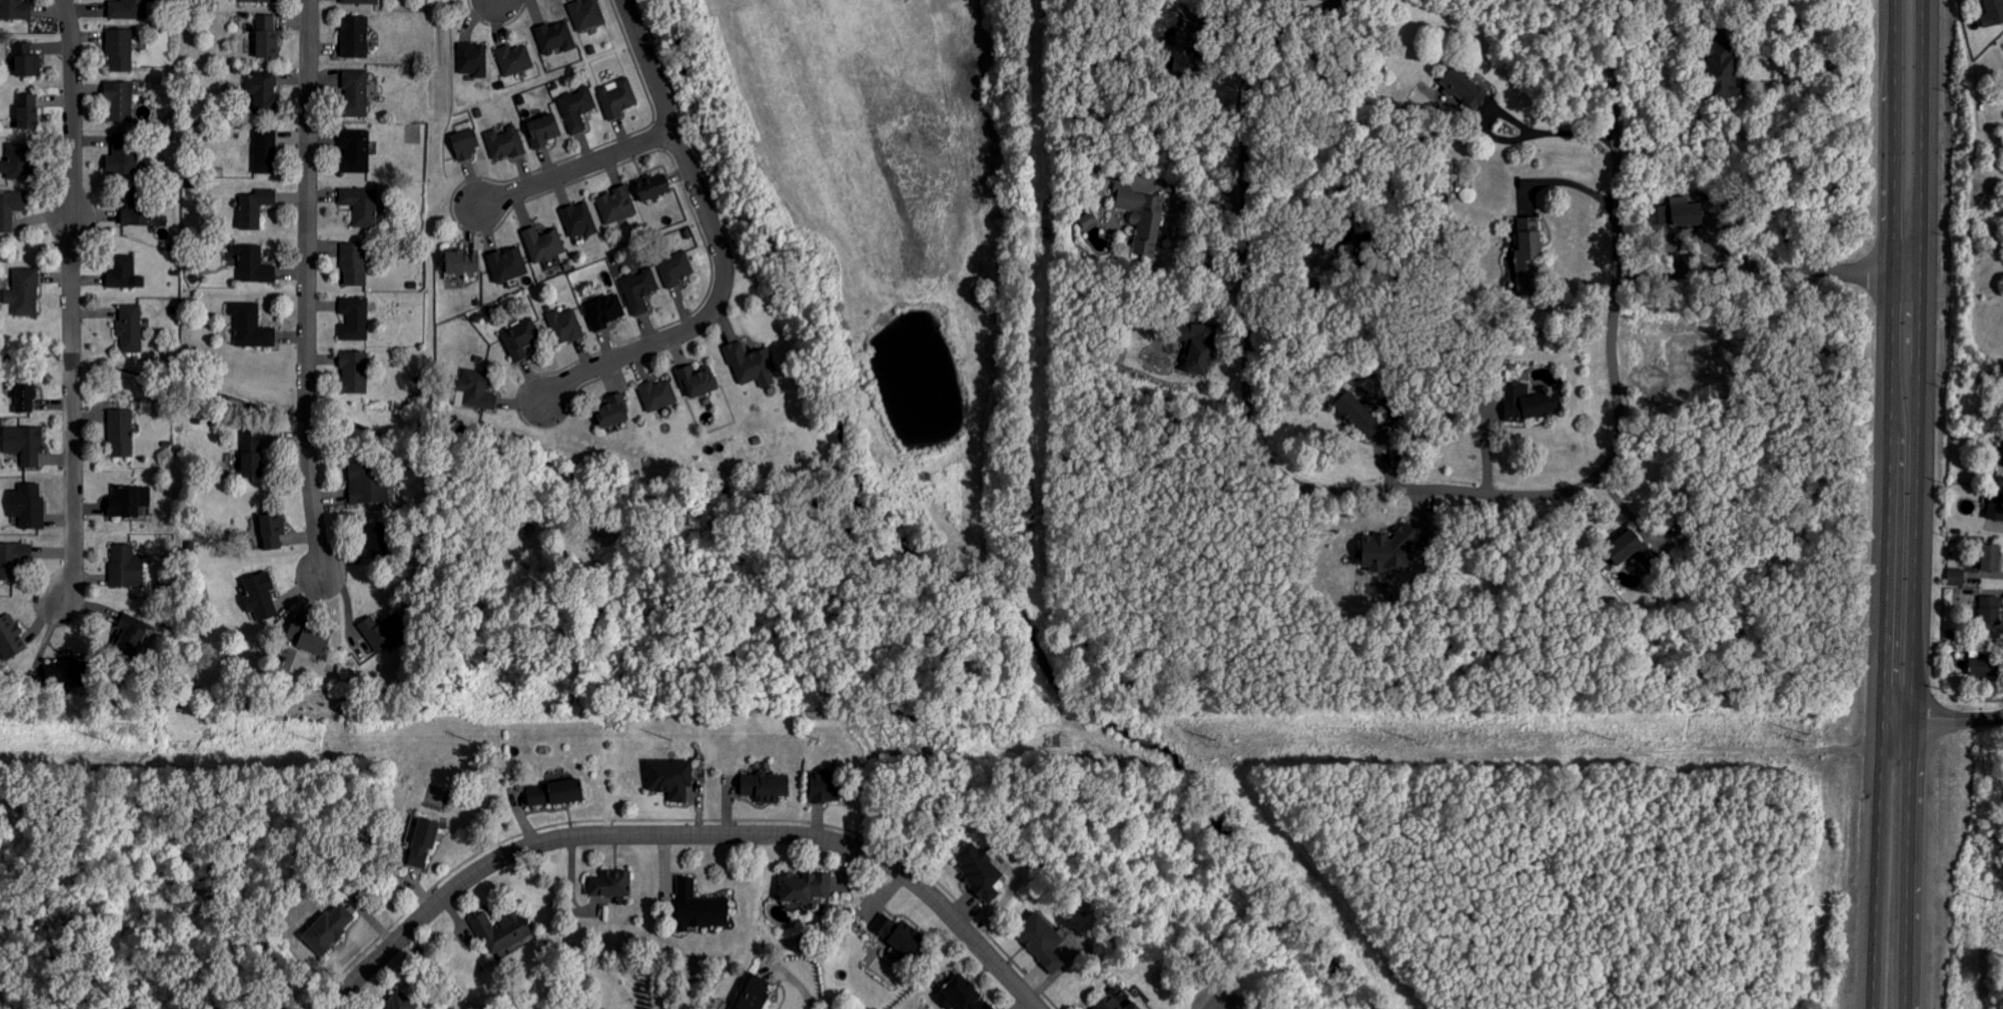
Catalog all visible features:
building: (257, 1)
building: (359, 2)
building: (128, 9)
building: (15, 10)
road: (1321, 11)
building: (1993, 13)
building: (586, 14)
road: (1231, 26)
building: (266, 37)
building: (354, 37)
building: (556, 37)
building: (1183, 42)
building: (120, 49)
building: (1165, 49)
building: (474, 59)
building: (515, 59)
building: (25, 61)
building: (1184, 64)
building: (1720, 72)
building: (1462, 88)
building: (262, 91)
building: (354, 94)
building: (617, 97)
building: (120, 102)
building: (577, 108)
building: (27, 111)
road: (1514, 125)
building: (543, 130)
road: (1616, 134)
building: (505, 143)
building: (465, 145)
building: (264, 151)
building: (355, 151)
building: (16, 162)
road: (576, 166)
road: (1571, 182)
building: (652, 187)
building: (617, 205)
building: (361, 206)
building: (253, 208)
building: (10, 209)
building: (138, 209)
building: (1676, 213)
road: (1246, 214)
building: (1142, 215)
building: (579, 220)
road: (1174, 234)
building: (543, 244)
road: (717, 244)
building: (1526, 255)
building: (459, 263)
building: (252, 264)
building: (354, 265)
building: (507, 265)
building: (676, 269)
building: (124, 272)
road: (1770, 273)
road: (305, 287)
building: (641, 290)
building: (24, 292)
road: (72, 302)
building: (606, 311)
building: (355, 319)
building: (250, 326)
building: (566, 326)
building: (130, 329)
building: (521, 339)
building: (1199, 345)
building: (751, 365)
building: (353, 373)
building: (696, 382)
building: (475, 391)
building: (658, 395)
building: (24, 399)
building: (1529, 403)
building: (612, 412)
building: (1359, 414)
building: (121, 434)
building: (24, 445)
building: (249, 454)
building: (2001, 459)
building: (362, 484)
road: (1519, 494)
building: (128, 501)
road: (1892, 504)
road: (1916, 504)
building: (28, 505)
building: (1995, 508)
building: (270, 531)
building: (373, 537)
building: (1386, 550)
building: (1630, 550)
building: (1991, 558)
building: (13, 559)
building: (125, 566)
building: (1956, 577)
building: (263, 596)
building: (1990, 611)
building: (380, 633)
building: (128, 637)
building: (11, 638)
building: (308, 640)
building: (1980, 666)
building: (58, 673)
road: (1957, 719)
building: (670, 778)
building: (823, 786)
building: (765, 787)
building: (552, 792)
road: (686, 834)
building: (422, 841)
building: (978, 872)
building: (610, 883)
building: (804, 887)
building: (697, 906)
building: (331, 928)
building: (506, 932)
building: (900, 936)
building: (1040, 941)
building: (752, 993)
building: (961, 994)
building: (399, 1002)
building: (1113, 1004)

